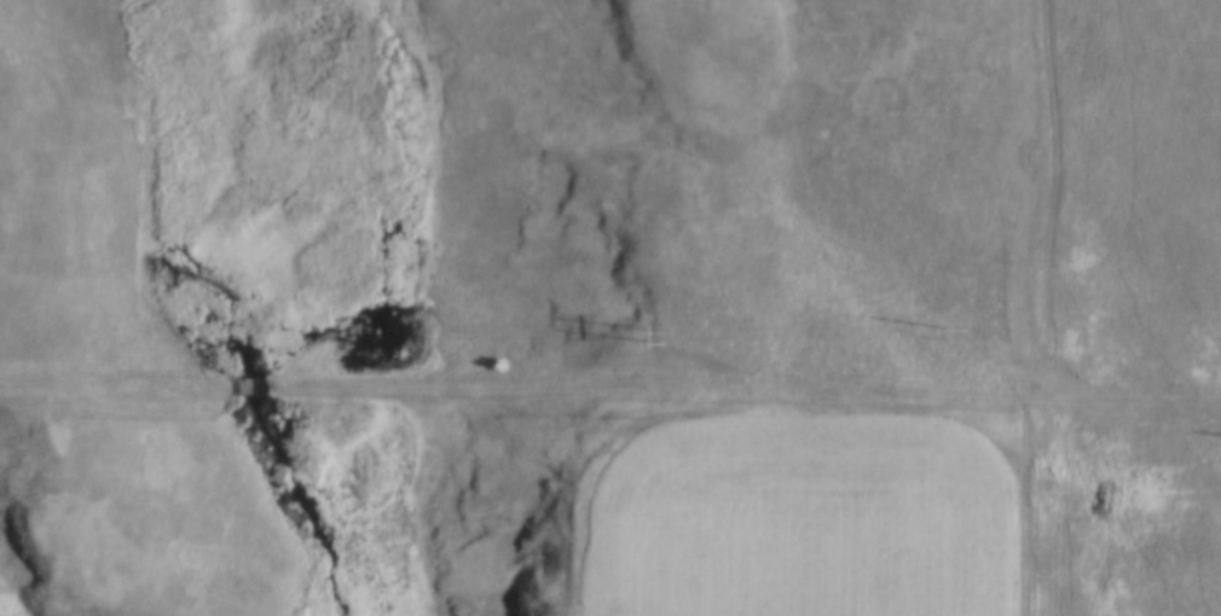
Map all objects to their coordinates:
road: (1150, 399)

